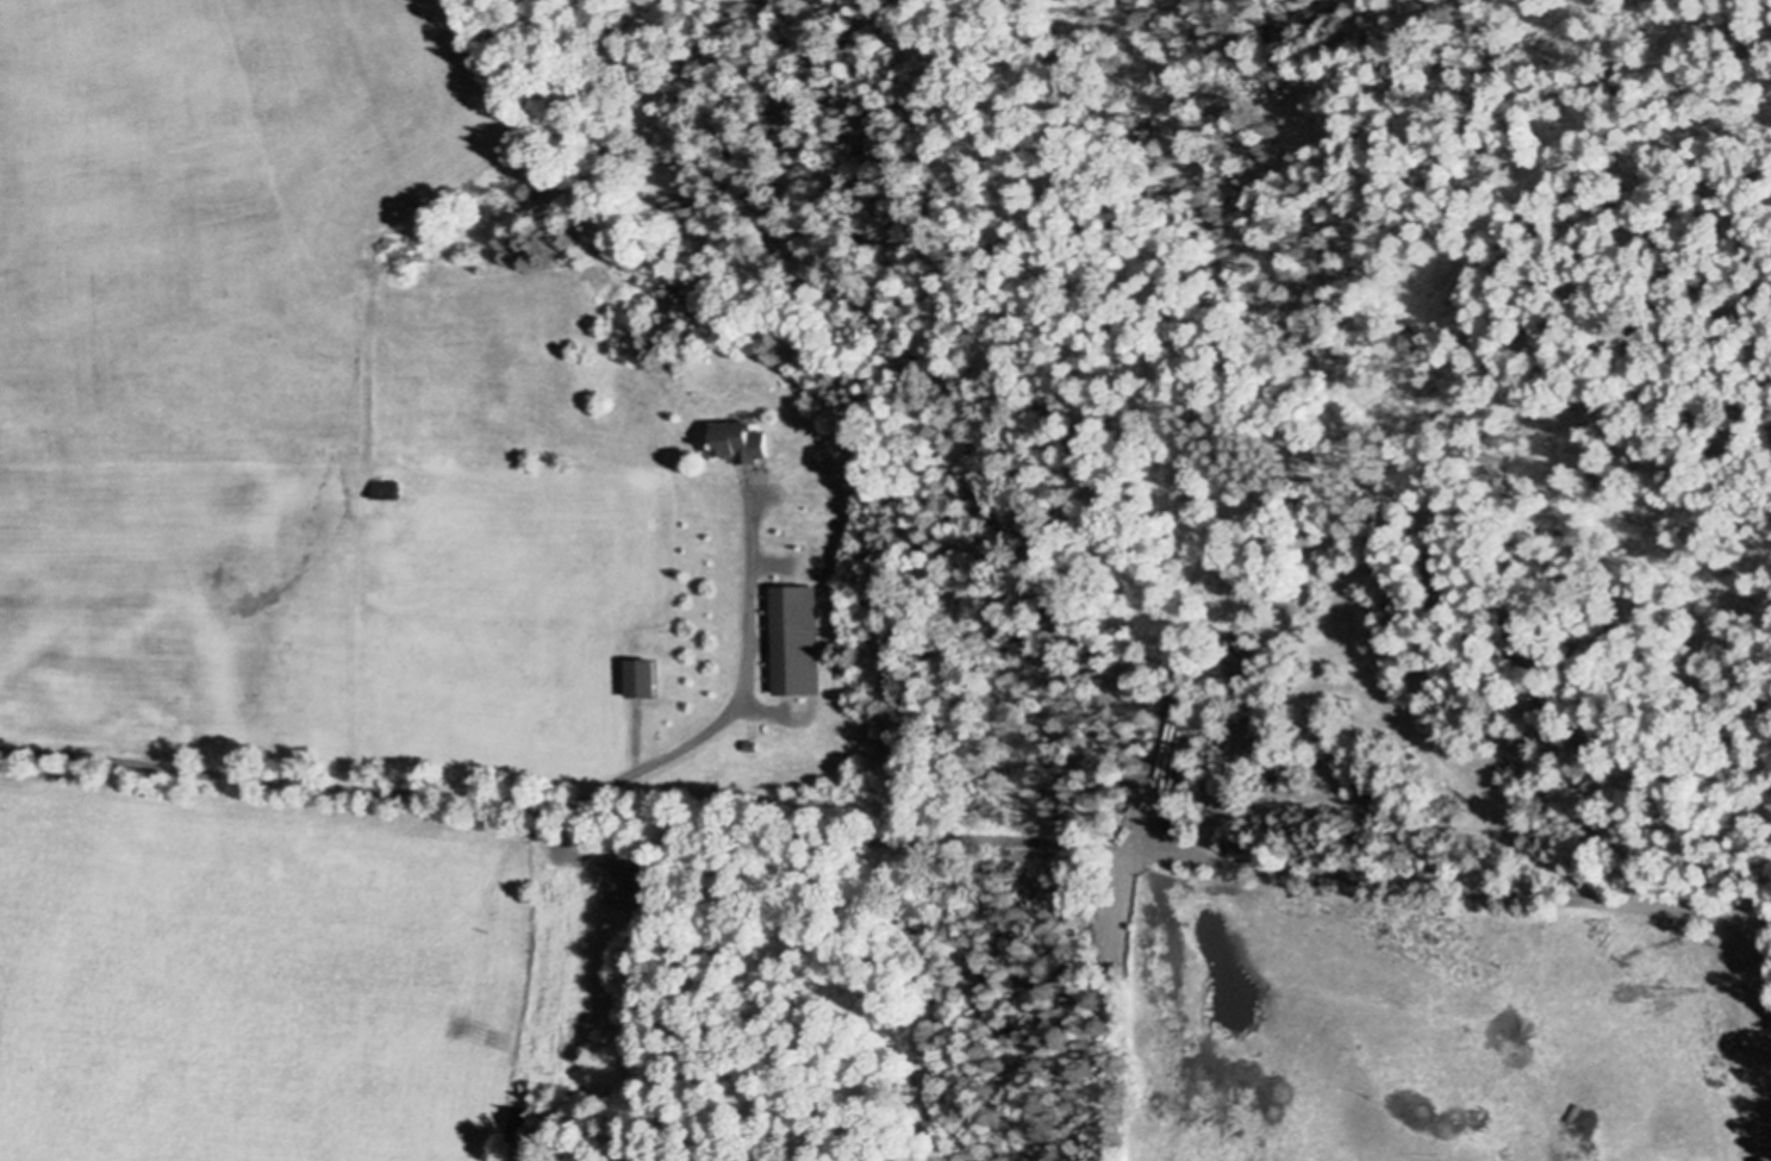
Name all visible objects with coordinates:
building: (747, 439)
building: (800, 639)
building: (646, 676)
road: (734, 706)
road: (281, 776)
road: (1192, 853)

